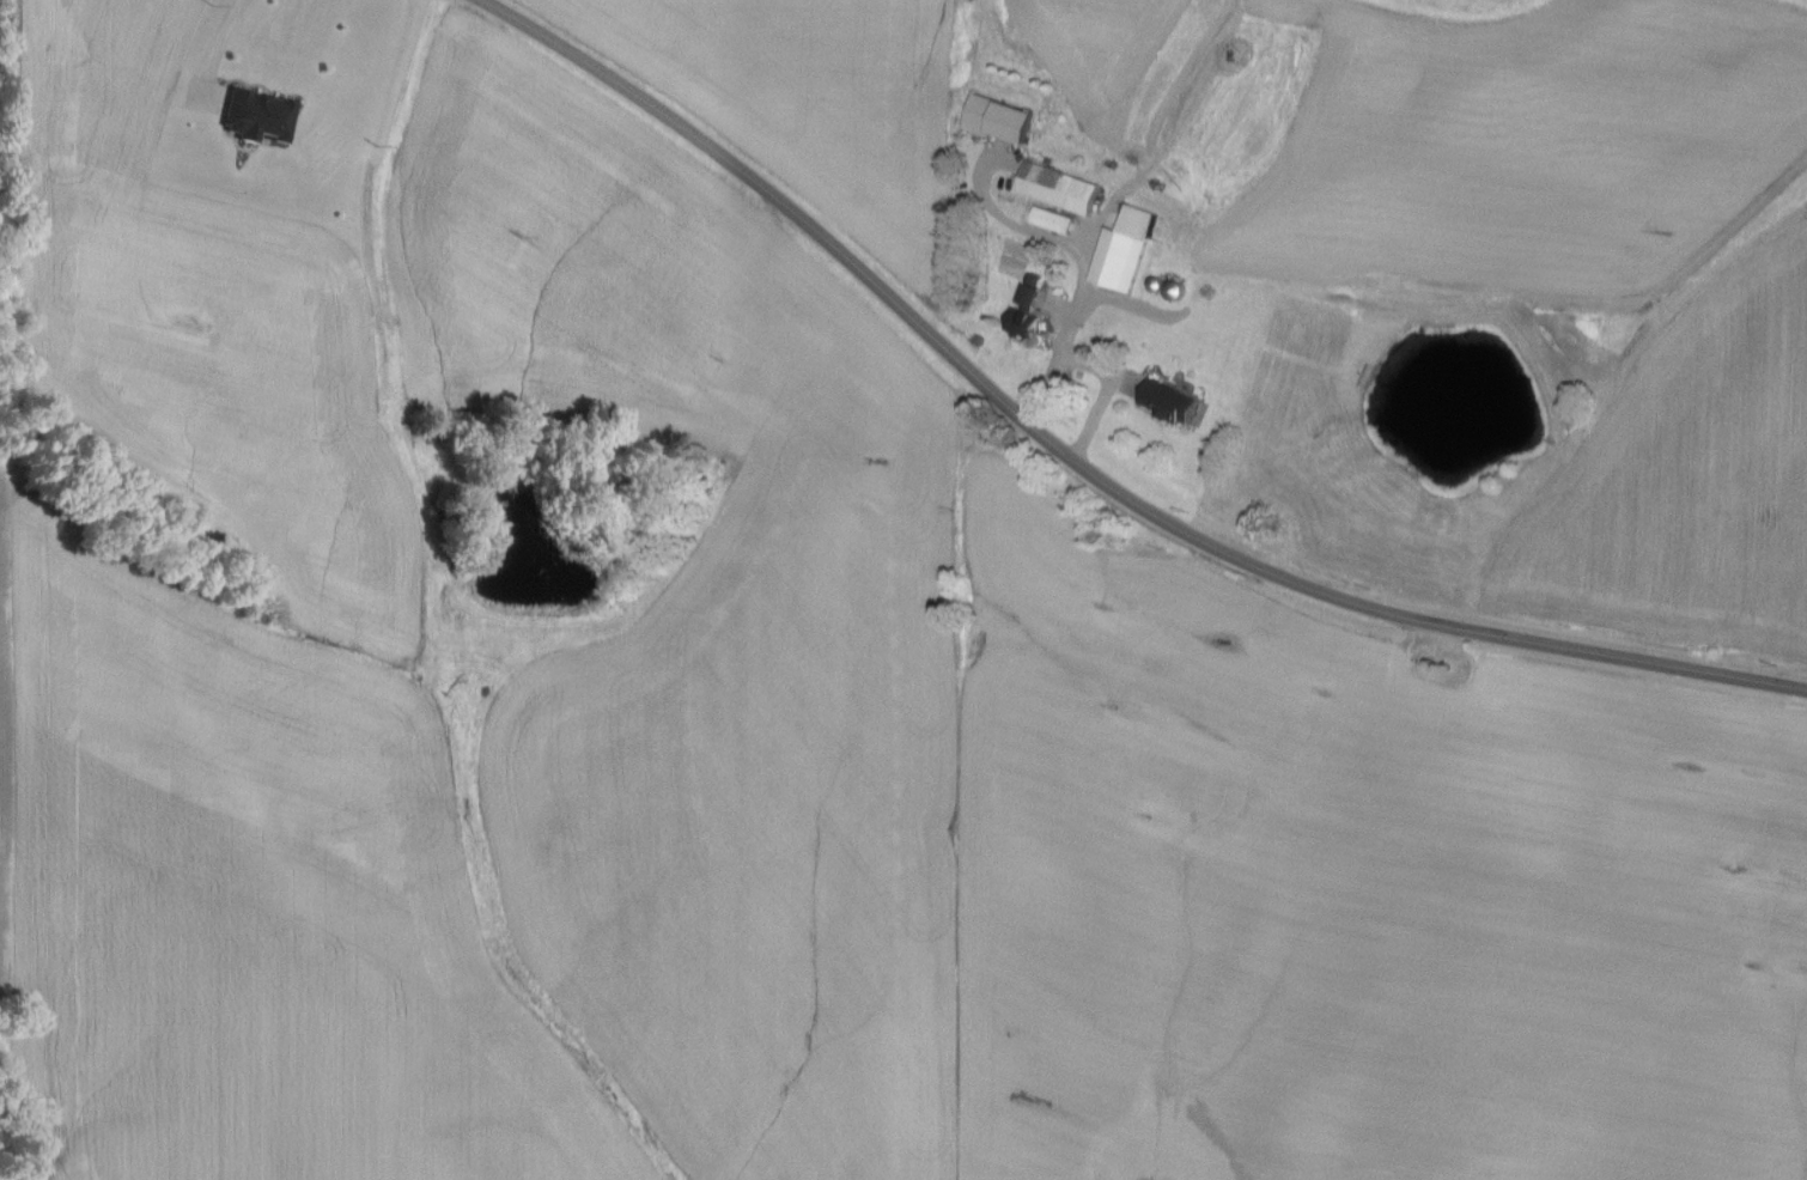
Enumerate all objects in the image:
road: (211, 41)
road: (694, 53)
building: (261, 115)
building: (1003, 117)
building: (1061, 188)
building: (1055, 219)
building: (1122, 260)
road: (1084, 264)
building: (1029, 310)
road: (1105, 393)
building: (1174, 401)
road: (1085, 467)

